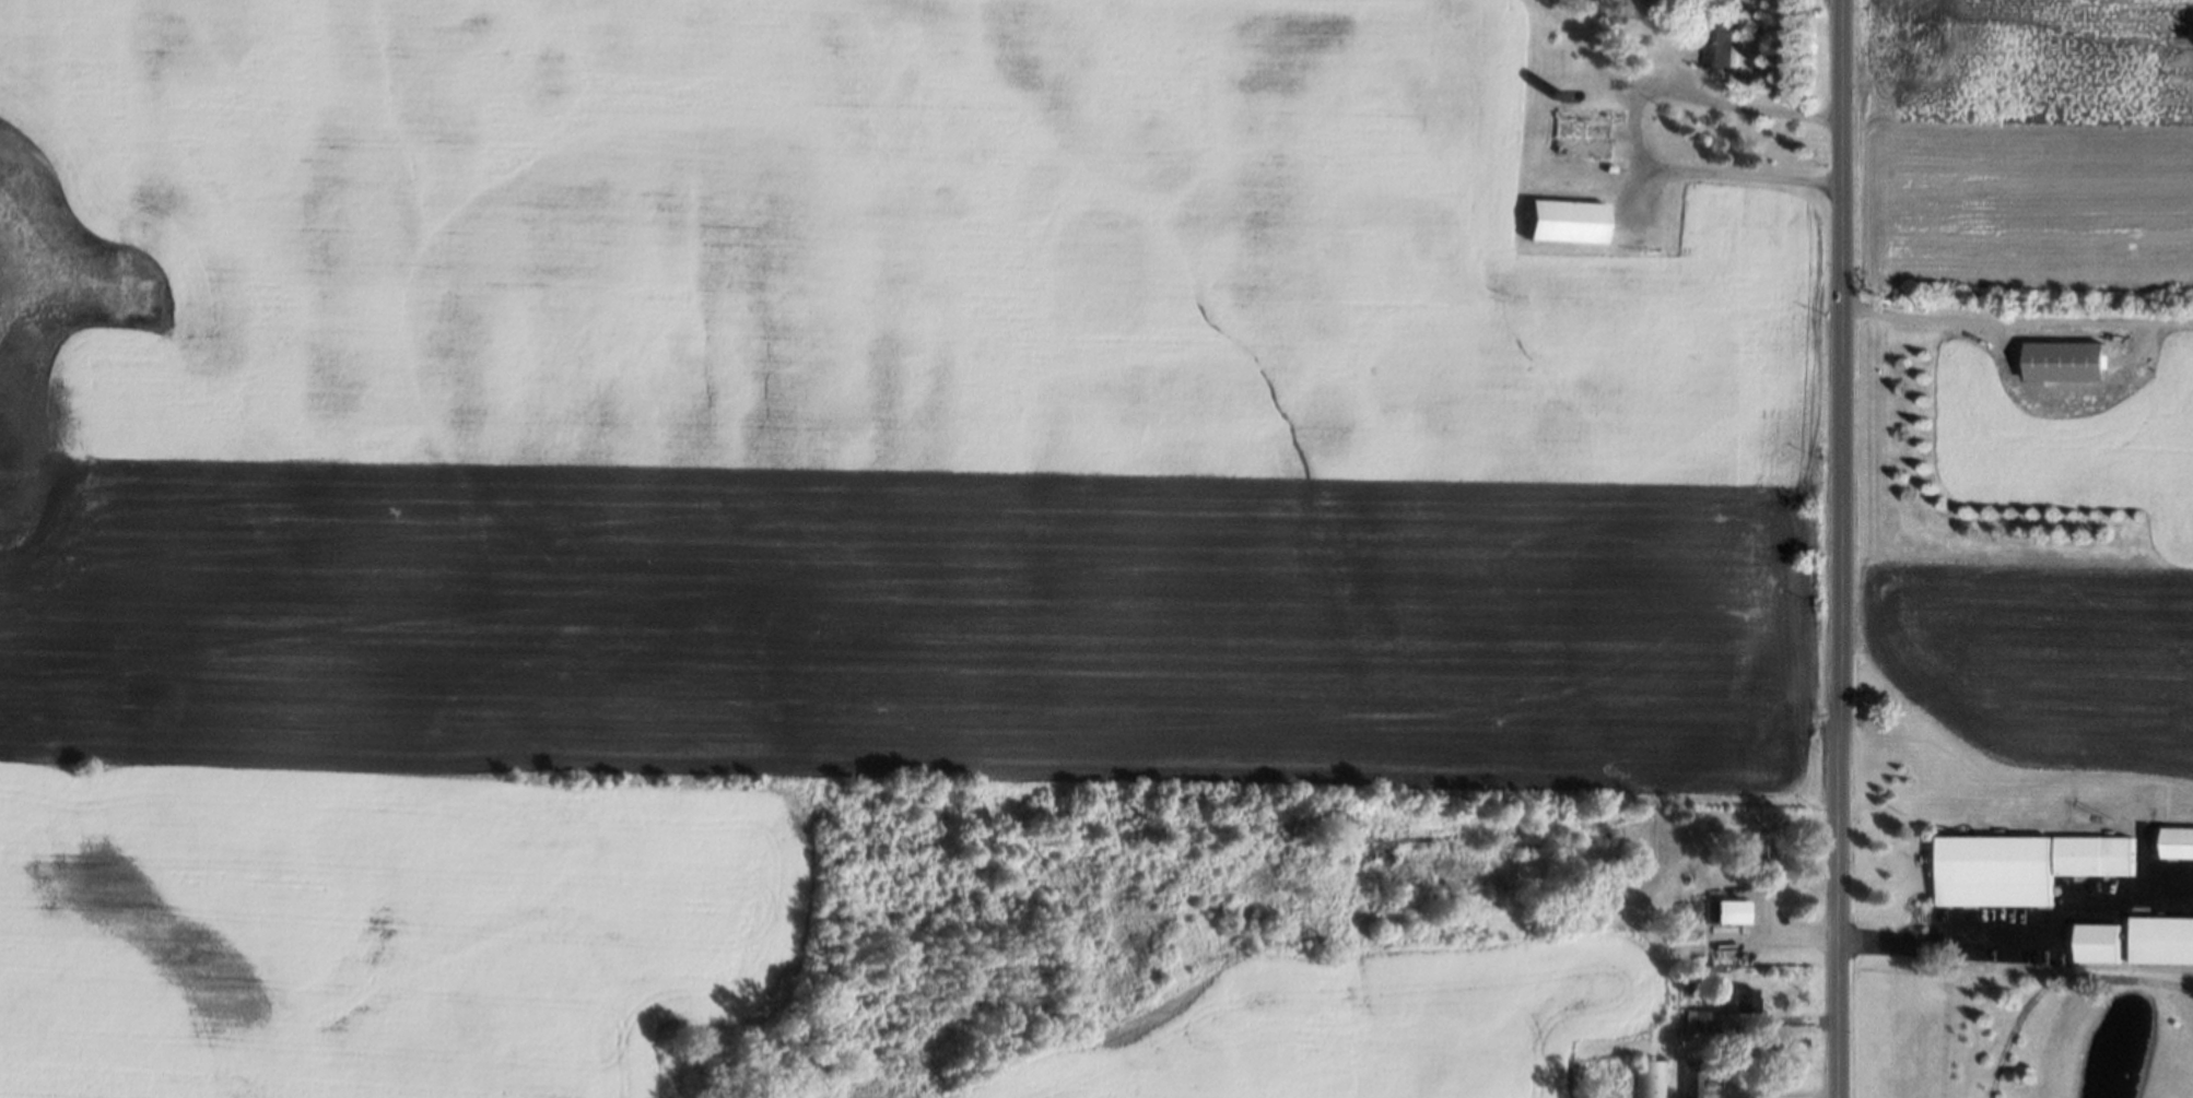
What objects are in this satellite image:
building: (1719, 37)
building: (1557, 92)
road: (1639, 111)
building: (1580, 132)
building: (1567, 221)
road: (2002, 319)
building: (2064, 361)
crop: (795, 485)
road: (1831, 548)
building: (2176, 843)
building: (1758, 853)
building: (2022, 869)
building: (1723, 912)
road: (2019, 941)
building: (2136, 943)
building: (1746, 1000)
building: (1684, 1001)
building: (1704, 1020)
crop: (1346, 1028)
building: (1646, 1078)
building: (1690, 1078)
road: (1780, 1094)

